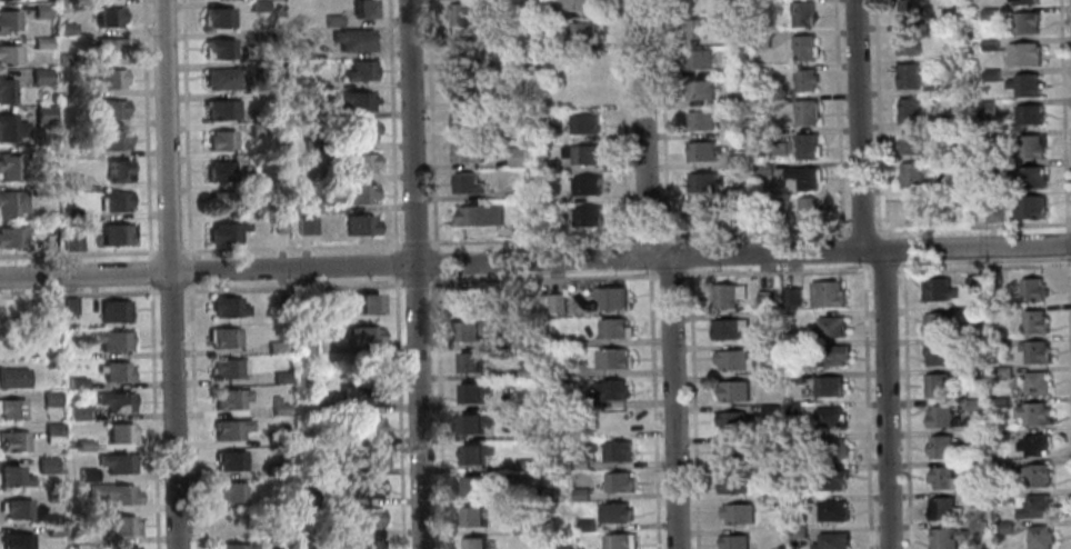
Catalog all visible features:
building: (63, 1)
building: (702, 2)
building: (1023, 2)
building: (580, 4)
building: (256, 6)
building: (364, 9)
building: (40, 11)
building: (908, 11)
building: (548, 12)
building: (802, 13)
building: (989, 13)
building: (460, 14)
building: (218, 16)
building: (108, 18)
building: (330, 20)
building: (7, 21)
building: (1024, 22)
building: (697, 28)
building: (64, 29)
building: (581, 31)
building: (260, 36)
building: (732, 37)
building: (352, 39)
building: (760, 39)
building: (550, 41)
building: (40, 43)
building: (908, 43)
building: (989, 44)
building: (106, 48)
building: (220, 48)
building: (470, 48)
building: (804, 48)
building: (299, 49)
building: (1022, 53)
building: (9, 56)
building: (697, 59)
building: (66, 60)
building: (506, 60)
building: (587, 64)
building: (358, 69)
building: (732, 70)
building: (990, 74)
building: (40, 76)
building: (908, 77)
building: (220, 78)
building: (111, 79)
building: (261, 79)
building: (804, 80)
building: (308, 83)
building: (1023, 86)
building: (940, 87)
building: (4, 90)
building: (699, 90)
building: (67, 91)
building: (463, 92)
building: (590, 93)
building: (357, 99)
building: (545, 99)
building: (734, 100)
building: (762, 101)
building: (111, 108)
building: (222, 109)
building: (908, 110)
building: (987, 110)
building: (805, 112)
building: (41, 113)
building: (1028, 113)
building: (309, 114)
road: (1062, 114)
road: (837, 118)
road: (877, 118)
building: (702, 120)
building: (942, 120)
building: (468, 121)
road: (662, 121)
road: (623, 122)
building: (583, 123)
road: (391, 124)
road: (858, 124)
road: (430, 126)
building: (10, 128)
building: (257, 128)
road: (643, 128)
road: (144, 129)
road: (184, 129)
building: (359, 130)
building: (735, 130)
building: (990, 137)
building: (113, 140)
building: (222, 140)
building: (909, 142)
building: (768, 144)
building: (310, 146)
building: (807, 146)
building: (1028, 147)
building: (945, 149)
building: (68, 151)
building: (701, 151)
building: (466, 153)
building: (581, 154)
building: (518, 157)
building: (735, 161)
building: (356, 162)
building: (549, 167)
building: (8, 168)
building: (990, 168)
building: (116, 169)
building: (763, 169)
building: (222, 170)
building: (303, 172)
building: (910, 174)
building: (803, 177)
building: (1030, 177)
building: (69, 181)
building: (702, 182)
building: (466, 183)
building: (585, 186)
building: (39, 189)
building: (524, 189)
building: (358, 192)
building: (733, 192)
building: (116, 200)
building: (224, 201)
building: (10, 203)
building: (313, 206)
building: (808, 208)
building: (911, 208)
building: (1030, 208)
building: (957, 212)
building: (992, 212)
building: (702, 213)
building: (70, 214)
building: (479, 216)
building: (765, 216)
building: (587, 217)
building: (741, 218)
building: (277, 223)
building: (360, 223)
building: (308, 224)
road: (971, 226)
building: (526, 227)
building: (545, 227)
building: (227, 231)
road: (860, 231)
road: (752, 233)
building: (116, 234)
building: (10, 237)
road: (645, 238)
road: (530, 240)
building: (71, 241)
road: (414, 243)
road: (1065, 243)
road: (291, 247)
road: (891, 248)
road: (851, 249)
road: (868, 249)
road: (168, 250)
road: (78, 252)
road: (675, 256)
road: (637, 257)
road: (657, 257)
road: (394, 262)
road: (434, 262)
road: (323, 266)
road: (982, 266)
road: (882, 269)
road: (190, 270)
road: (149, 271)
road: (774, 271)
road: (416, 273)
road: (169, 274)
road: (669, 276)
road: (542, 279)
building: (993, 279)
road: (416, 282)
building: (972, 283)
road: (293, 286)
building: (937, 289)
building: (1031, 289)
road: (169, 290)
road: (78, 293)
building: (727, 295)
building: (814, 295)
building: (613, 296)
building: (468, 299)
building: (765, 299)
building: (279, 300)
building: (302, 301)
building: (554, 301)
building: (364, 302)
building: (69, 306)
building: (227, 307)
building: (999, 310)
building: (113, 311)
building: (3, 316)
building: (765, 319)
building: (1034, 321)
building: (935, 323)
building: (829, 326)
building: (613, 328)
building: (727, 328)
building: (471, 329)
building: (359, 335)
building: (222, 337)
building: (111, 339)
building: (518, 339)
building: (303, 346)
building: (276, 347)
road: (1068, 347)
building: (768, 350)
building: (1035, 352)
building: (937, 353)
building: (831, 355)
building: (612, 358)
building: (732, 359)
building: (469, 361)
building: (227, 367)
building: (116, 371)
building: (526, 371)
building: (1001, 371)
building: (975, 373)
building: (12, 377)
building: (280, 377)
building: (769, 379)
building: (792, 379)
building: (76, 382)
building: (1035, 382)
building: (938, 385)
building: (828, 386)
building: (609, 389)
road: (691, 389)
building: (732, 390)
building: (473, 391)
building: (359, 395)
building: (229, 398)
road: (884, 398)
building: (50, 399)
building: (114, 400)
building: (568, 400)
building: (531, 402)
road: (670, 402)
building: (1000, 402)
road: (865, 405)
road: (905, 405)
building: (974, 405)
building: (278, 407)
building: (311, 407)
building: (11, 408)
road: (652, 408)
building: (794, 408)
building: (768, 410)
building: (77, 411)
road: (398, 411)
road: (439, 411)
building: (1032, 413)
road: (152, 416)
road: (192, 416)
building: (829, 417)
building: (941, 417)
building: (732, 421)
building: (473, 422)
building: (367, 426)
building: (229, 429)
building: (52, 432)
building: (120, 432)
building: (531, 433)
building: (975, 435)
building: (1001, 435)
building: (767, 439)
building: (280, 440)
building: (12, 441)
building: (83, 445)
building: (1033, 445)
building: (941, 446)
building: (831, 449)
building: (614, 450)
building: (728, 451)
building: (474, 452)
building: (370, 456)
building: (229, 460)
building: (118, 462)
building: (579, 462)
building: (44, 465)
building: (524, 465)
building: (1001, 465)
building: (975, 467)
building: (274, 469)
building: (307, 469)
building: (795, 470)
building: (770, 473)
building: (86, 475)
building: (1037, 475)
building: (11, 476)
building: (943, 478)
building: (831, 479)
building: (284, 481)
building: (617, 481)
building: (730, 482)
building: (472, 485)
building: (366, 488)
building: (231, 492)
building: (112, 493)
building: (579, 493)
building: (53, 496)
building: (1001, 496)
building: (975, 497)
building: (313, 499)
building: (797, 500)
building: (772, 501)
building: (1034, 506)
building: (16, 508)
building: (943, 508)
building: (831, 510)
building: (613, 512)
building: (477, 513)
building: (737, 513)
building: (364, 518)
building: (533, 522)
building: (230, 523)
building: (122, 525)
building: (583, 525)
building: (978, 527)
building: (1003, 527)
building: (53, 530)
road: (695, 530)
building: (326, 531)
building: (797, 531)
building: (1039, 537)
building: (945, 538)
building: (16, 540)
building: (831, 540)
building: (619, 541)
building: (732, 541)
building: (474, 542)
building: (367, 545)
building: (237, 546)
building: (122, 547)
building: (563, 547)

